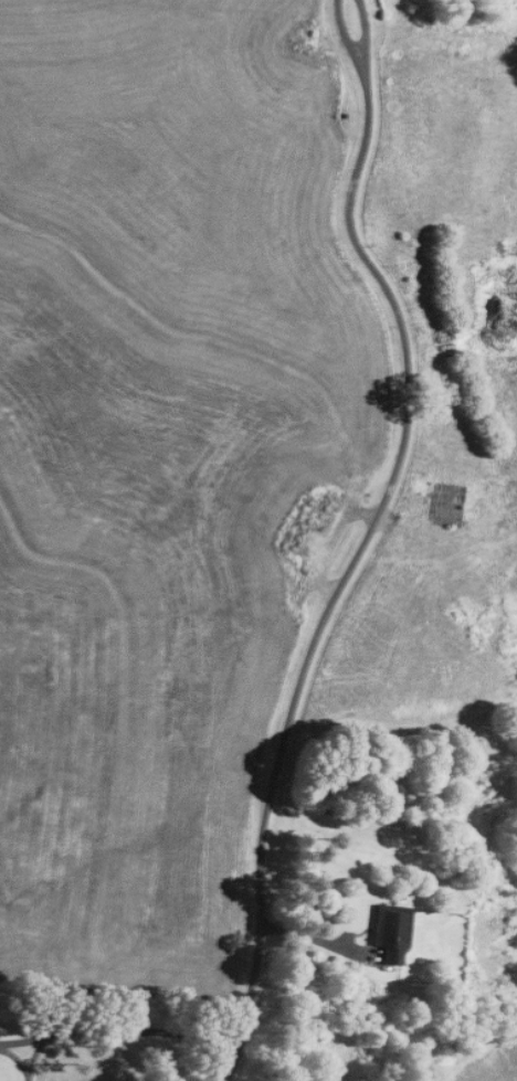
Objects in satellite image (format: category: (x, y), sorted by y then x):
road: (372, 516)
building: (393, 934)
road: (303, 936)
road: (115, 1034)
road: (228, 1060)

